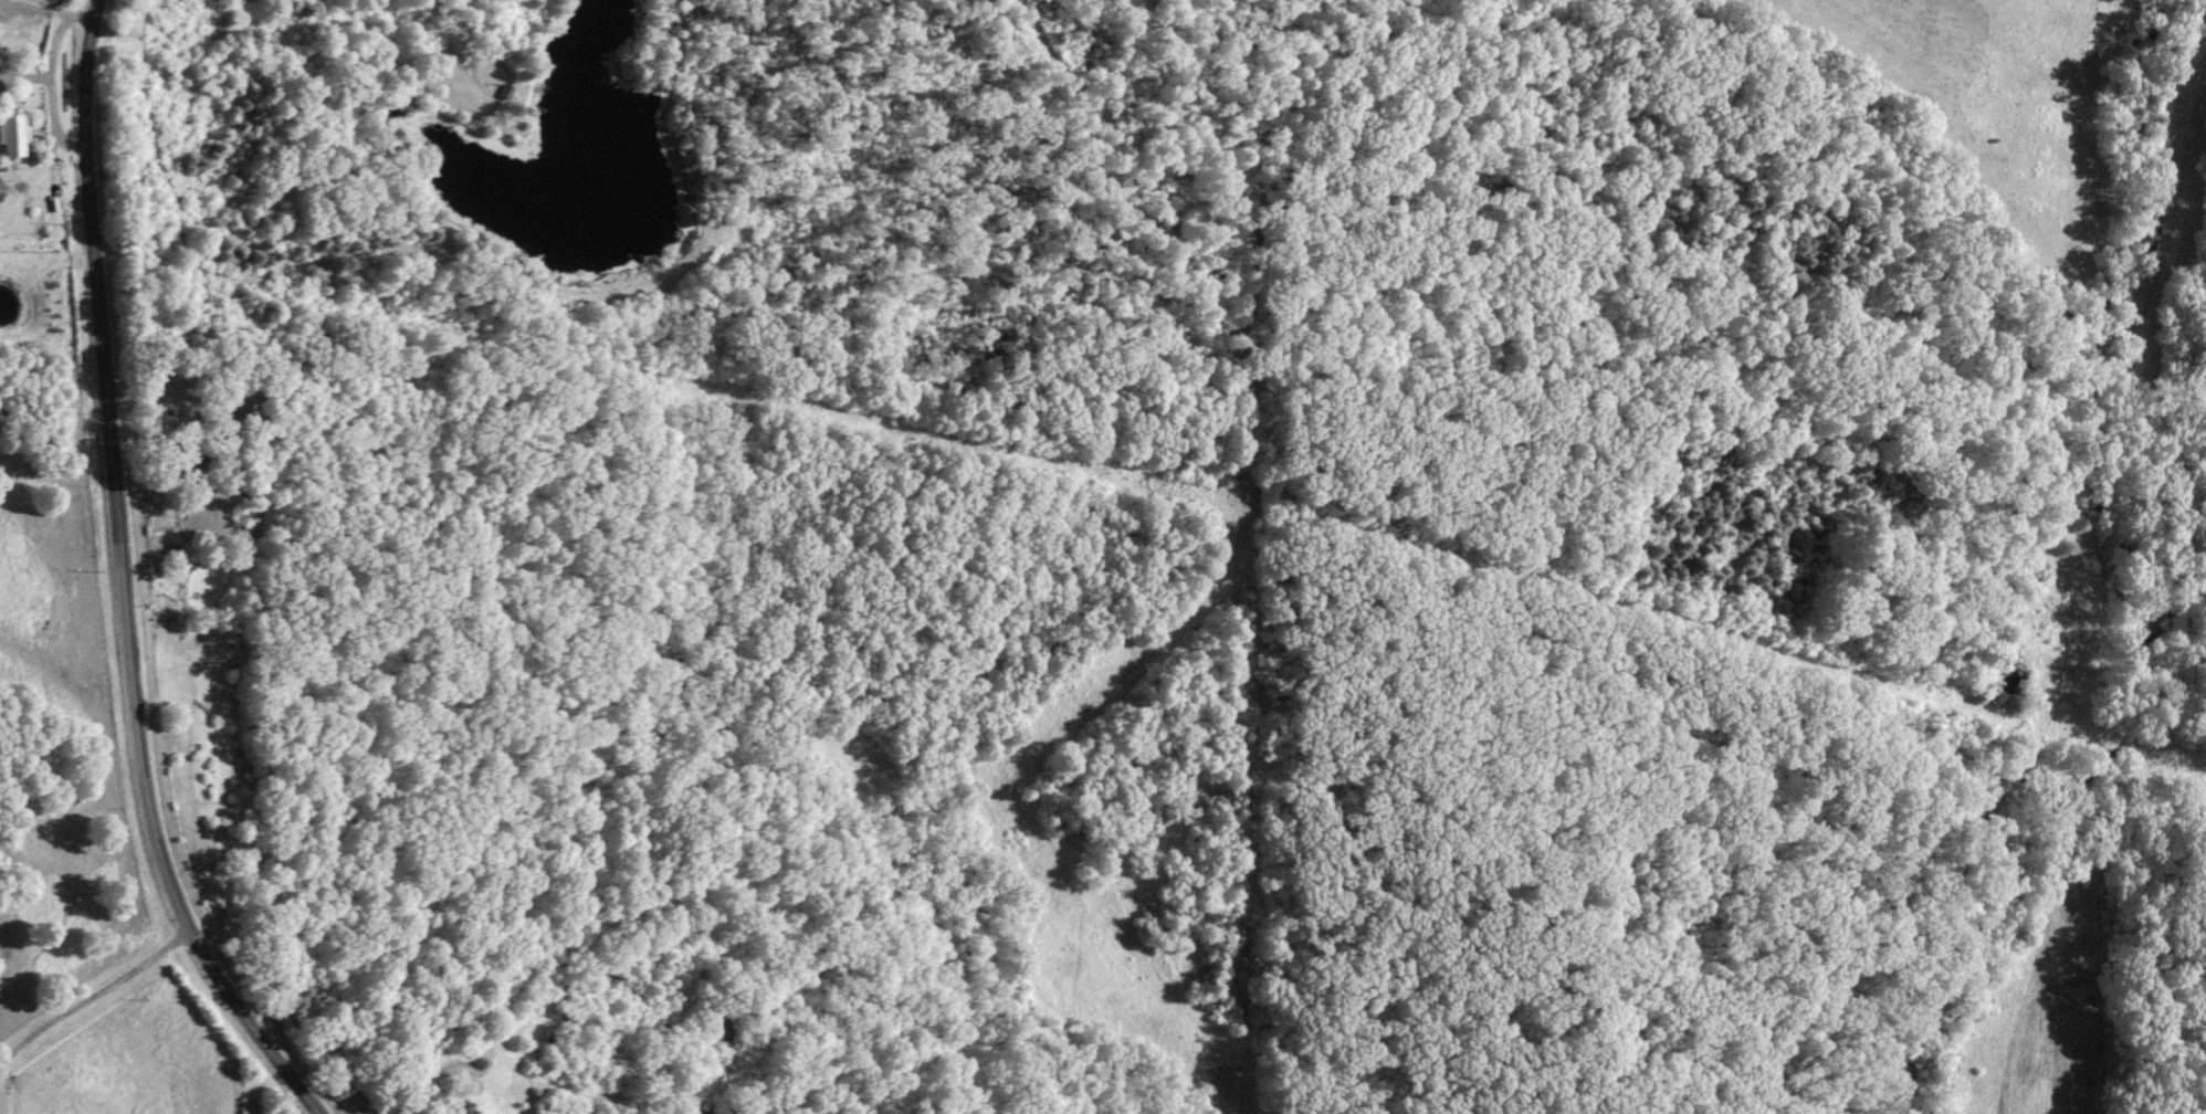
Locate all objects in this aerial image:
road: (48, 75)
road: (23, 78)
building: (12, 135)
building: (244, 410)
road: (124, 580)
road: (93, 997)
building: (456, 1103)

